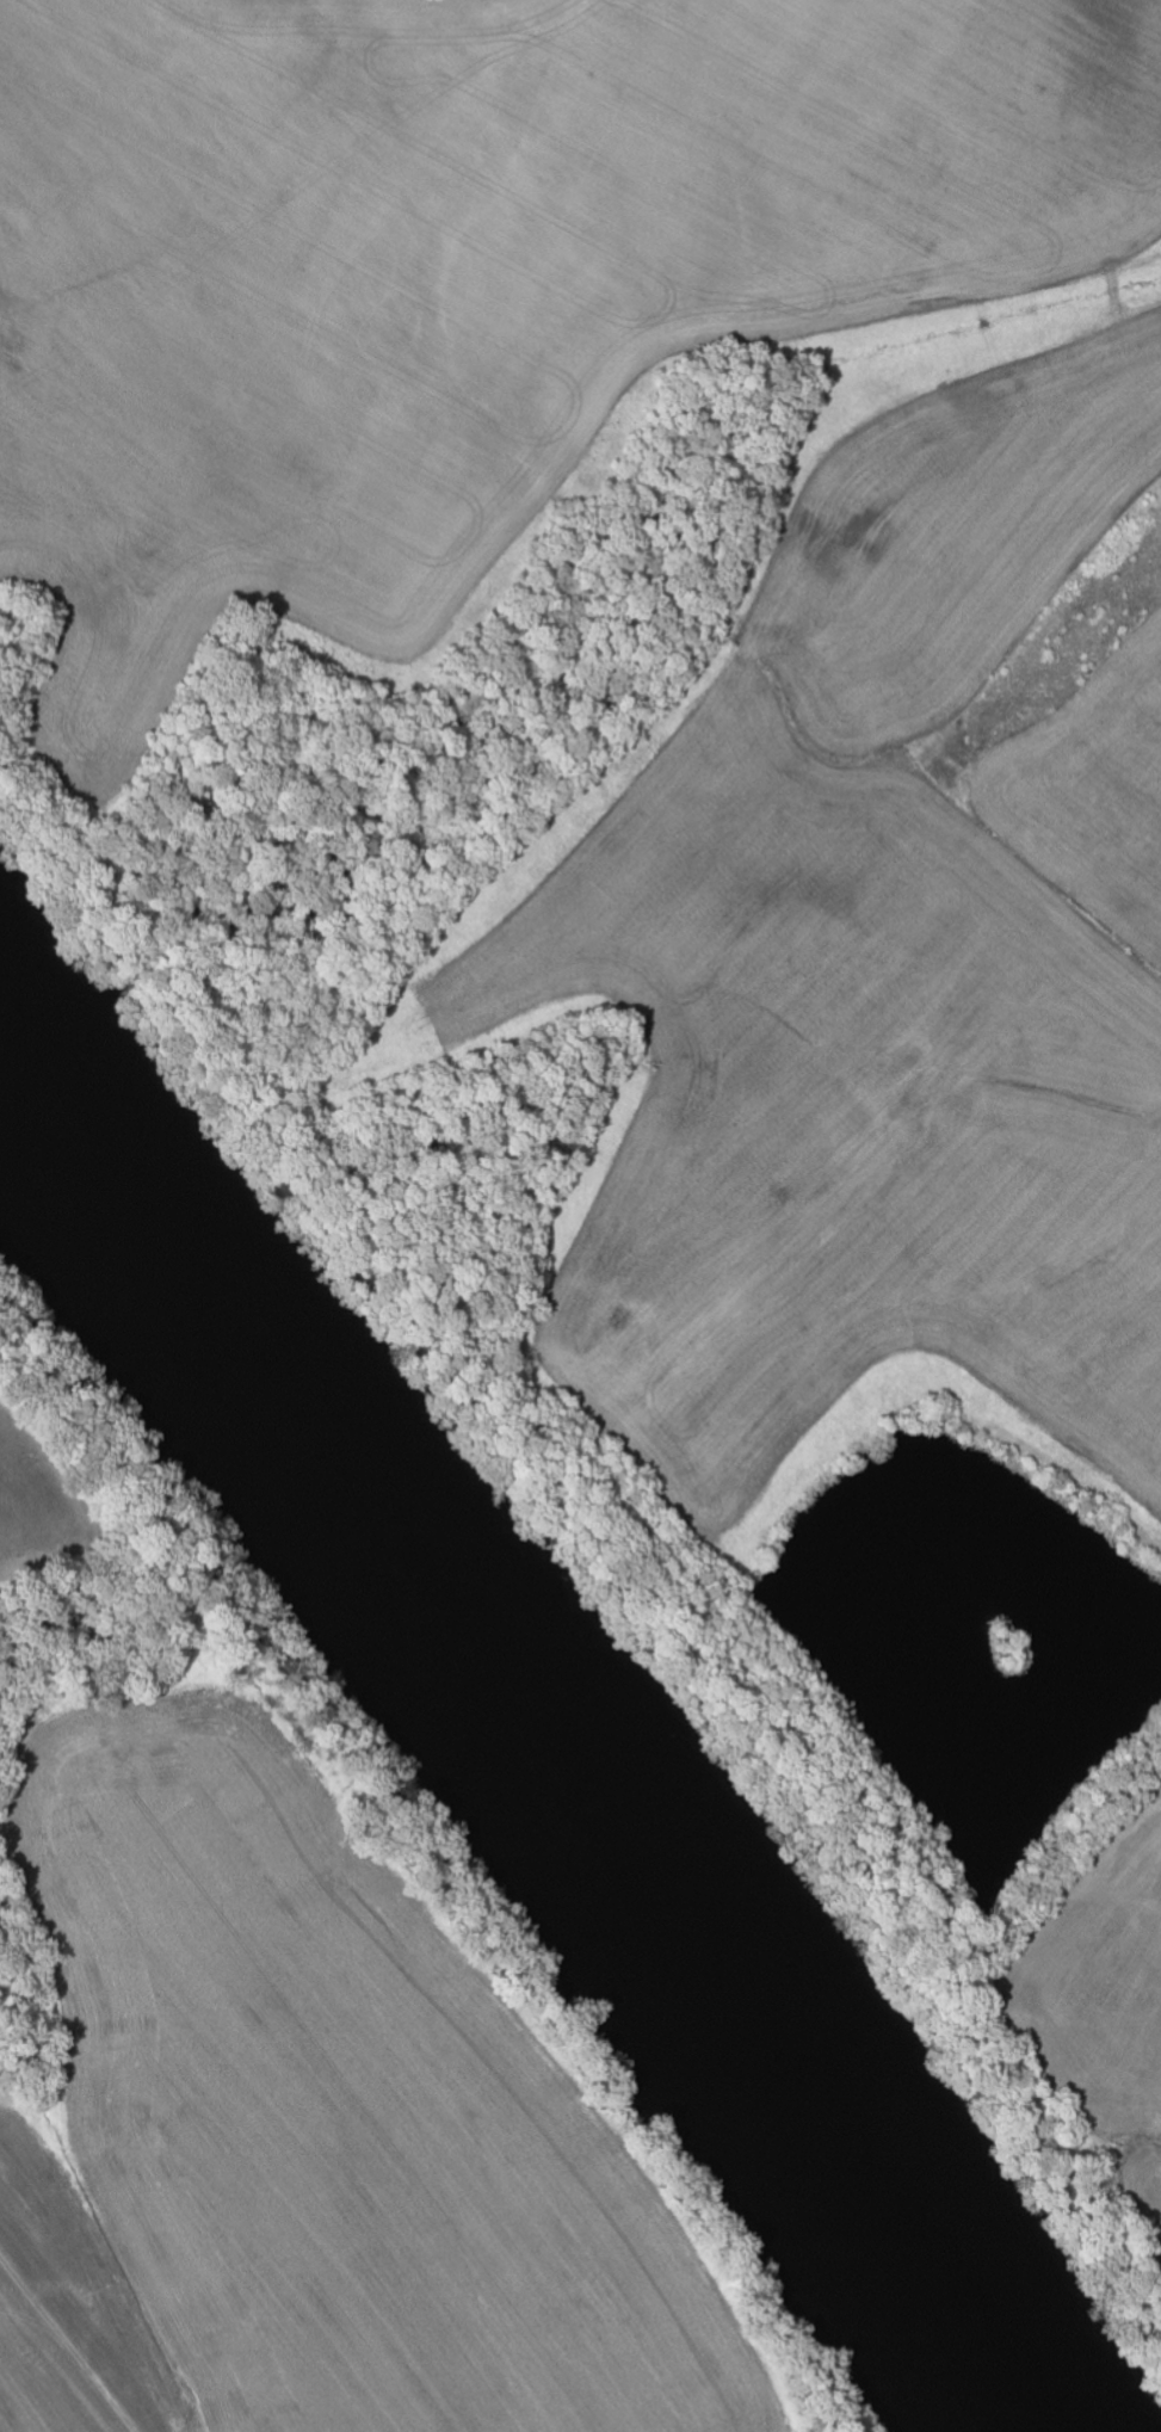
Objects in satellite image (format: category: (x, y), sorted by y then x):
river: (544, 1723)

